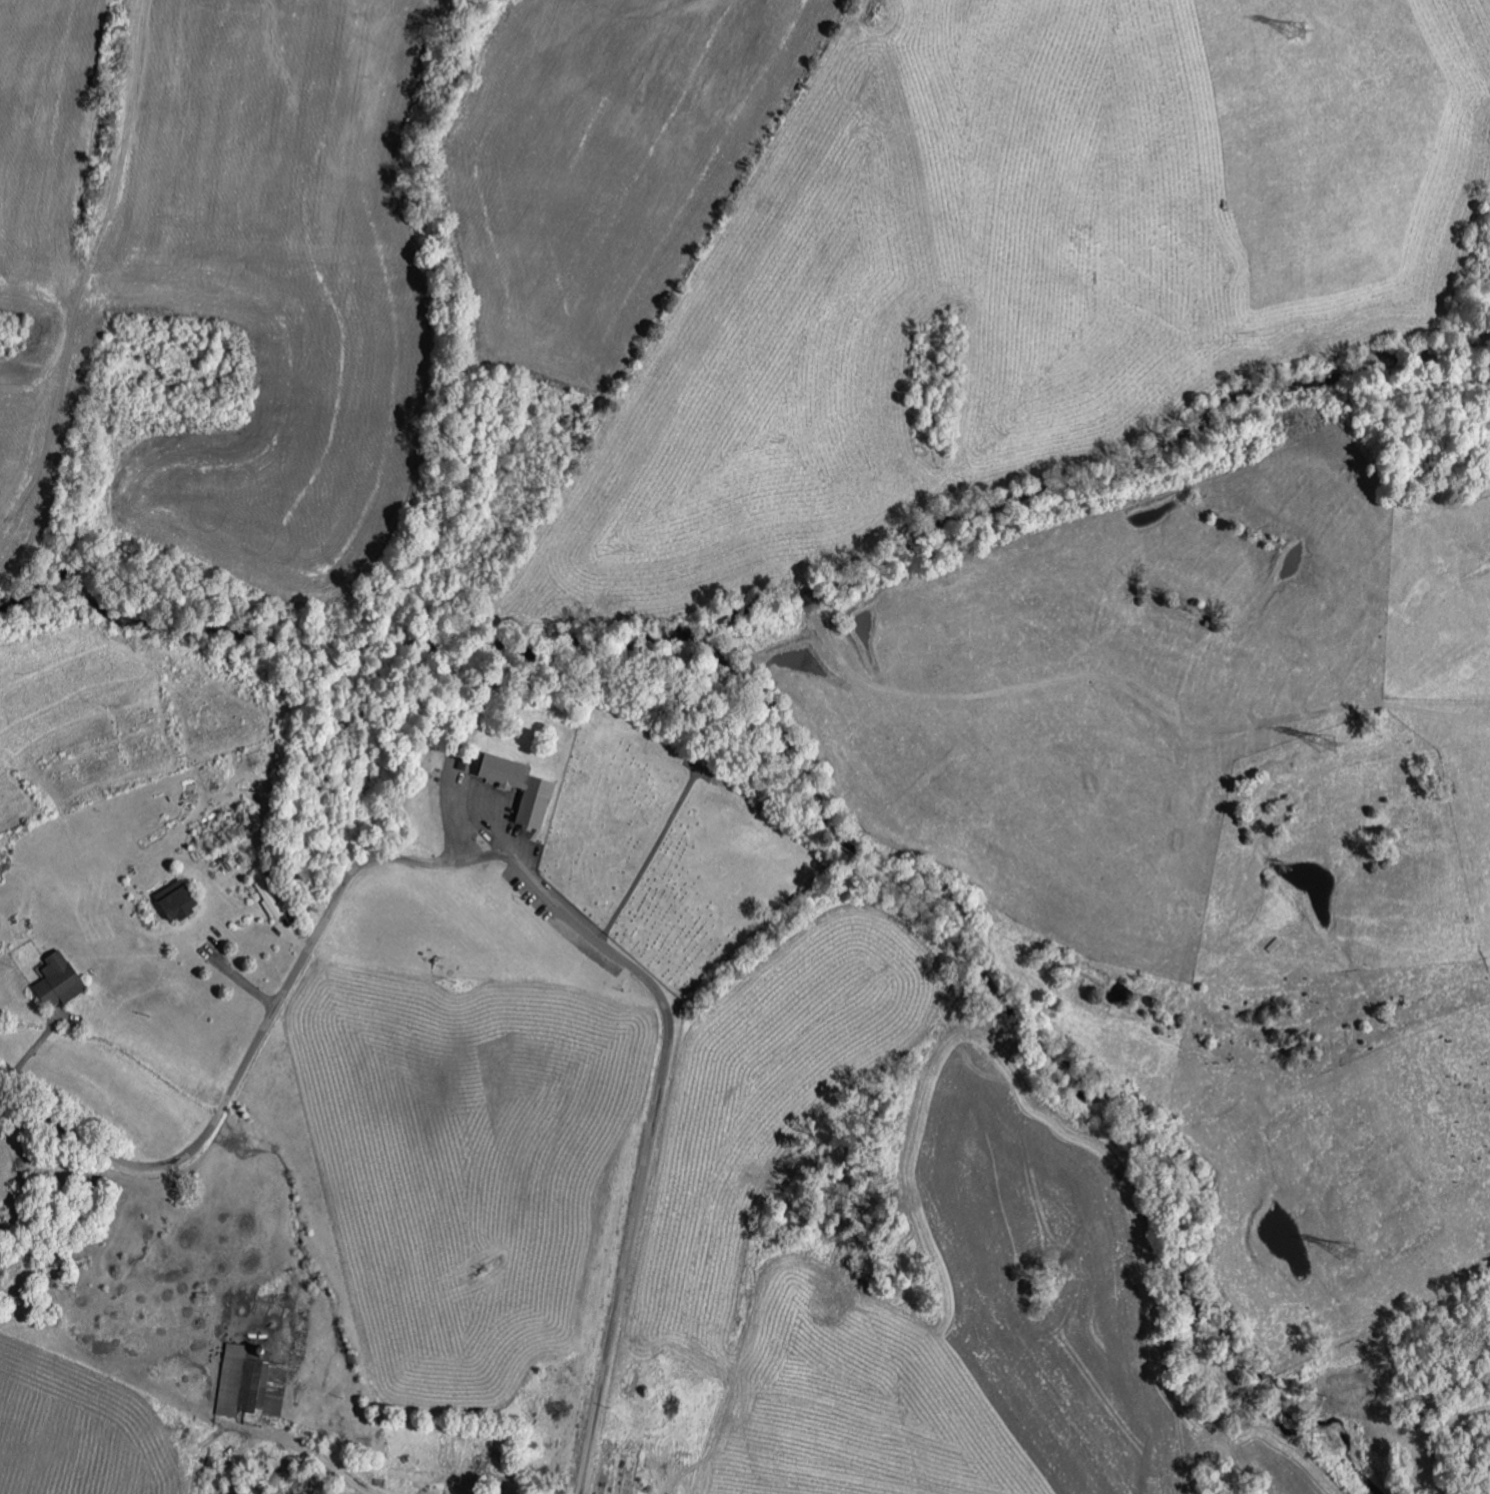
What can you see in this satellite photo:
road: (123, 291)
road: (194, 645)
building: (523, 789)
road: (288, 827)
park: (666, 850)
building: (271, 900)
building: (179, 902)
road: (233, 972)
building: (60, 981)
road: (263, 1034)
road: (31, 1050)
road: (661, 1056)
road: (80, 1135)
building: (252, 1383)
building: (415, 1475)

